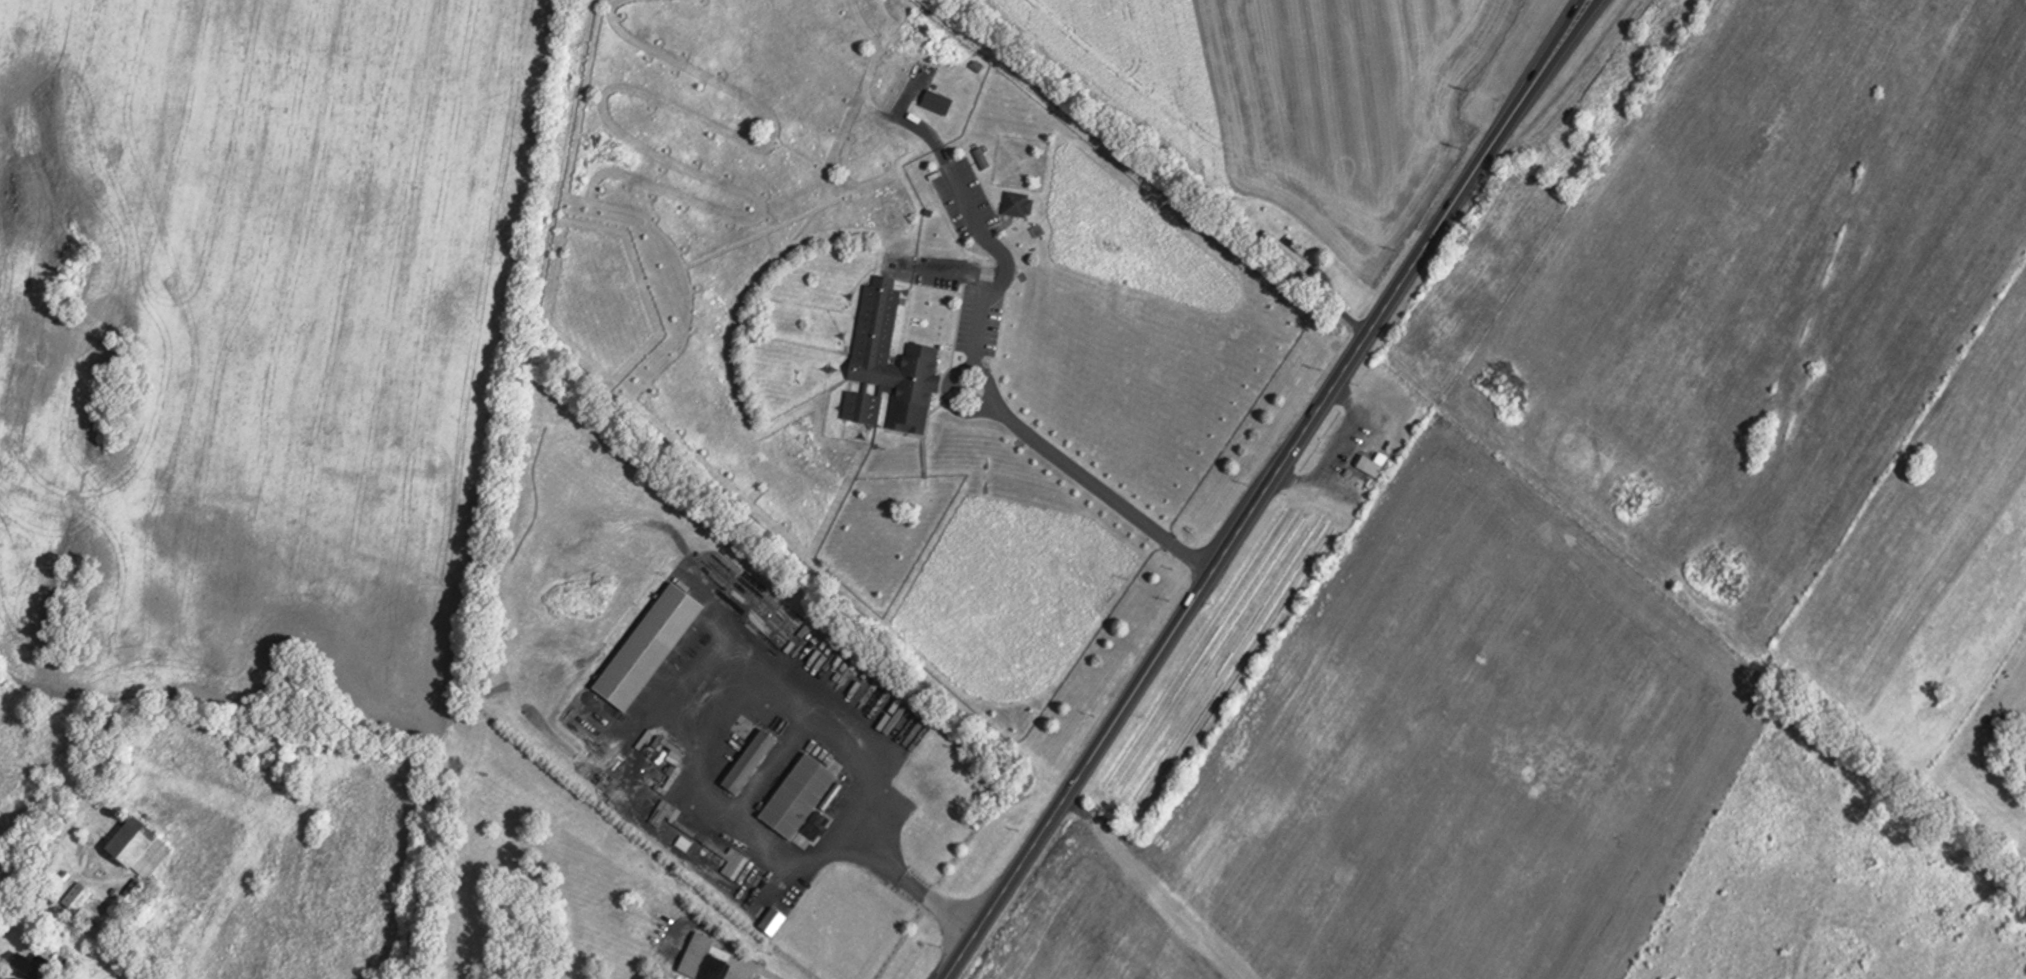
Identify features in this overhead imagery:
road: (1581, 5)
road: (1582, 5)
building: (1019, 203)
building: (903, 216)
building: (1286, 248)
road: (959, 340)
building: (895, 365)
building: (1376, 461)
road: (1260, 494)
road: (1179, 553)
road: (791, 685)
building: (755, 762)
building: (804, 797)
building: (148, 848)
road: (1152, 883)
building: (135, 895)
building: (83, 898)
building: (776, 921)
building: (709, 959)
building: (40, 966)
road: (757, 966)
building: (759, 977)

